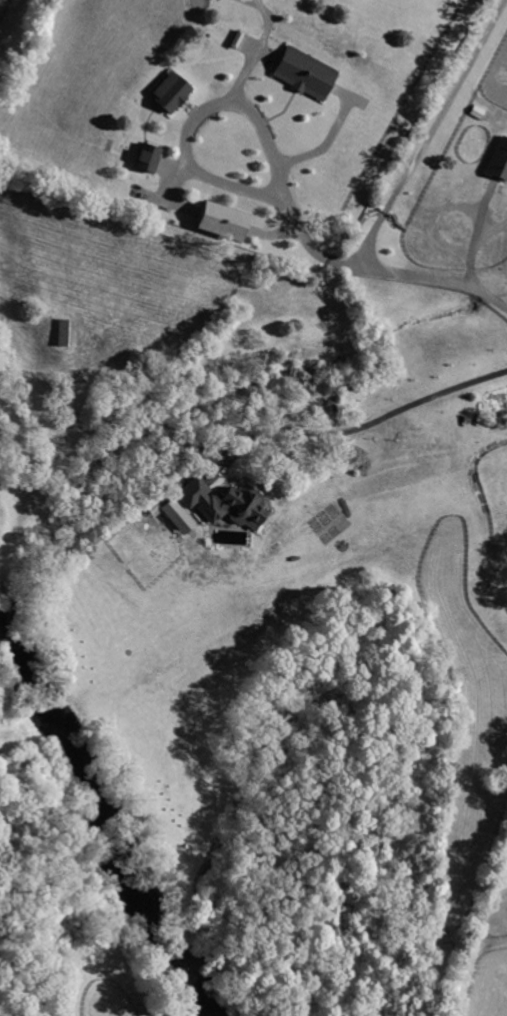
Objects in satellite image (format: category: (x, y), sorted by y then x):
building: (305, 74)
building: (171, 93)
road: (193, 121)
road: (268, 151)
building: (148, 160)
building: (499, 162)
road: (236, 185)
road: (394, 195)
building: (221, 223)
road: (478, 238)
building: (64, 334)
building: (497, 404)
road: (369, 423)
building: (222, 502)
river: (105, 821)

